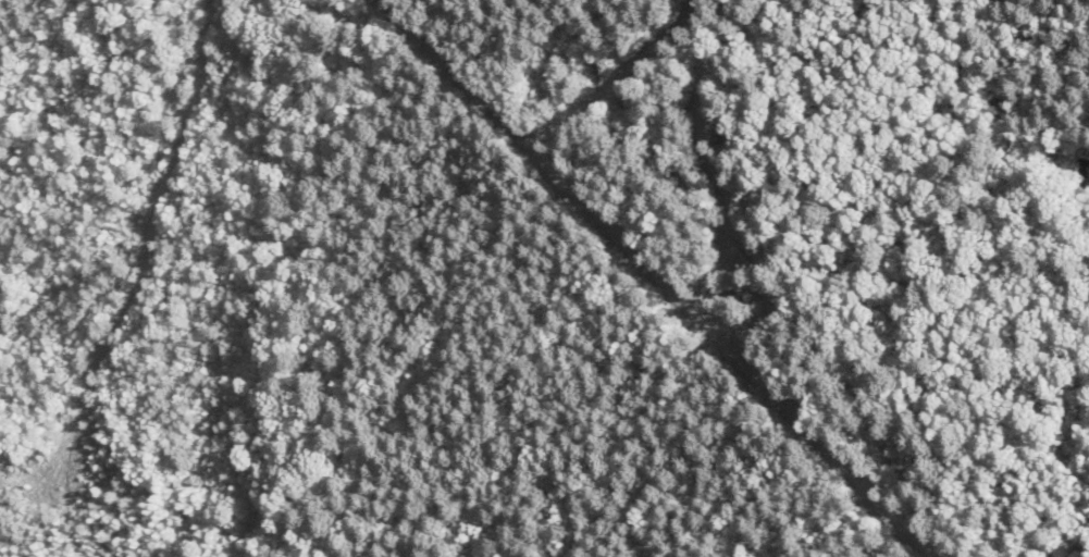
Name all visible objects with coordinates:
road: (755, 268)

